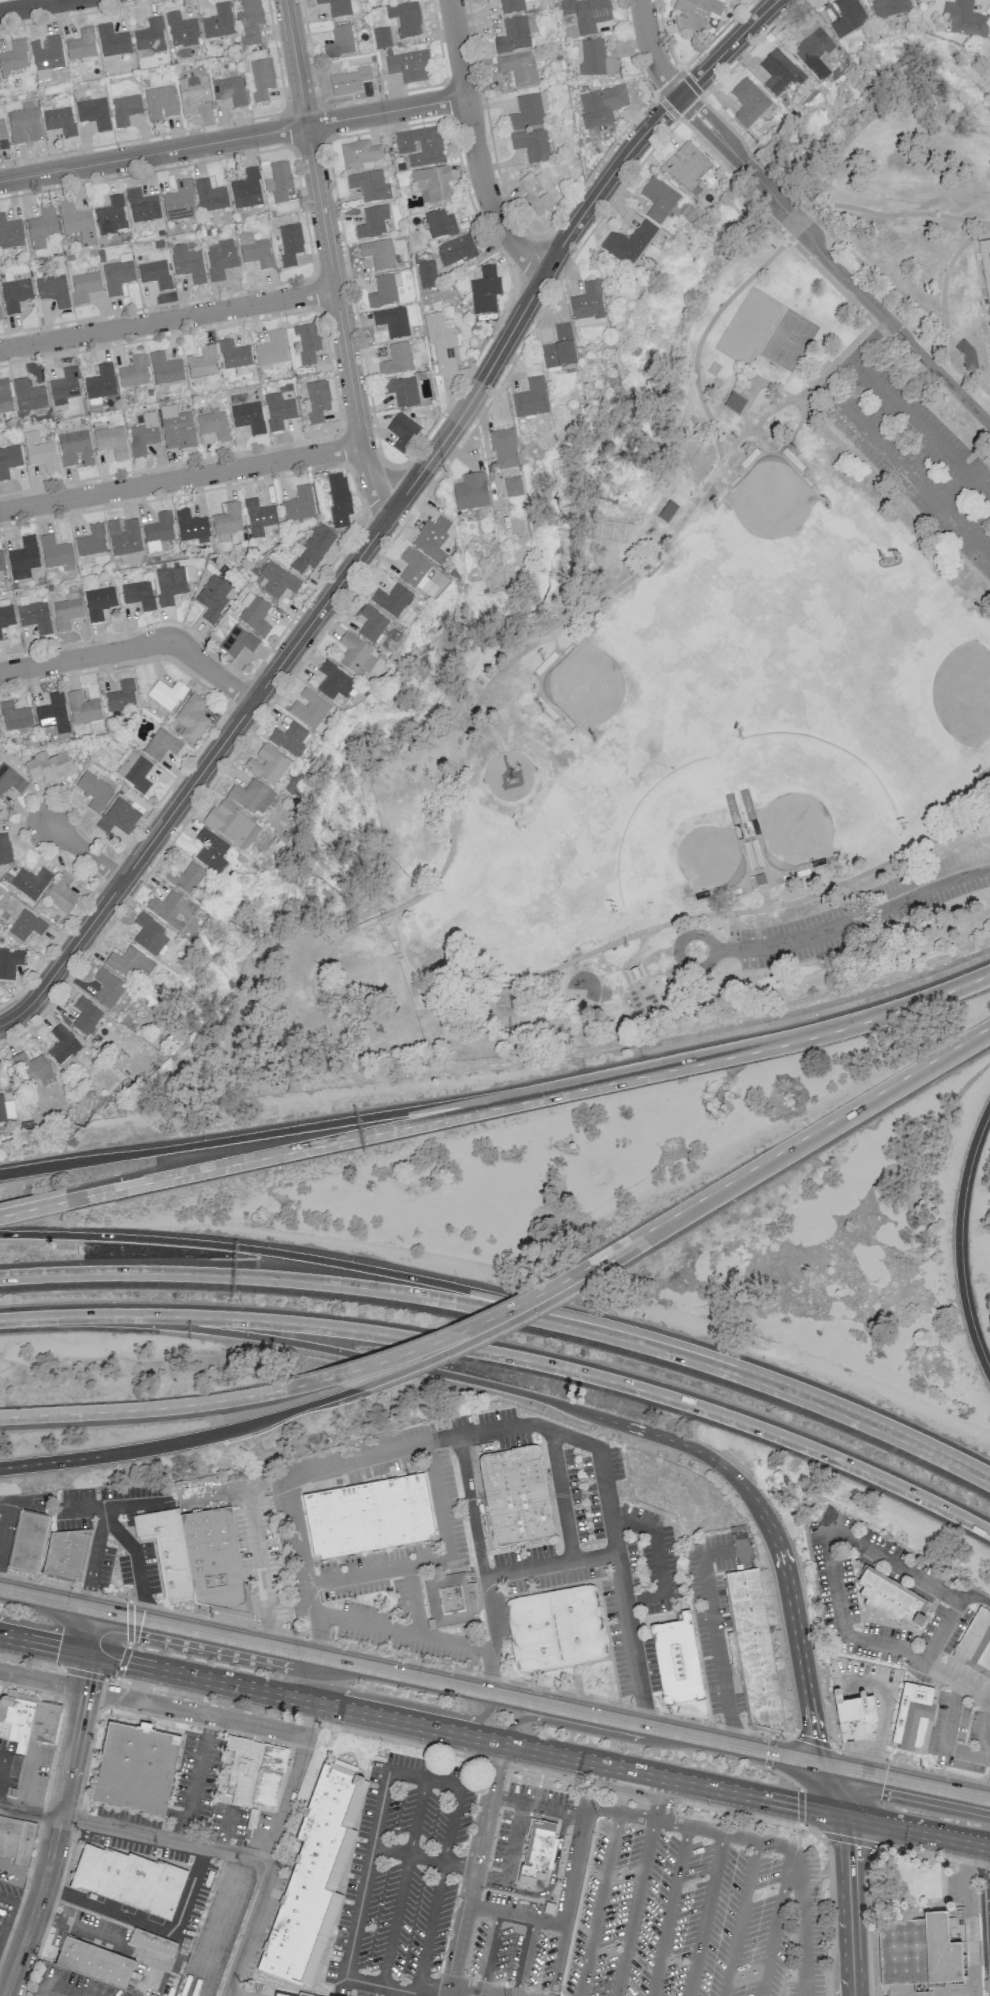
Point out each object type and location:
road: (32, 5)
building: (341, 7)
building: (889, 8)
building: (586, 13)
building: (695, 15)
building: (847, 17)
building: (405, 19)
building: (965, 19)
building: (218, 22)
building: (249, 22)
building: (181, 30)
building: (515, 34)
building: (150, 36)
building: (381, 37)
building: (112, 41)
building: (339, 42)
building: (81, 45)
building: (813, 49)
road: (651, 51)
building: (47, 54)
building: (13, 59)
building: (596, 60)
building: (409, 66)
building: (518, 68)
building: (780, 71)
building: (42, 75)
building: (261, 79)
building: (349, 81)
building: (229, 90)
building: (192, 93)
road: (658, 94)
building: (748, 102)
building: (160, 103)
building: (601, 106)
building: (125, 109)
building: (528, 112)
building: (94, 113)
building: (60, 121)
building: (24, 123)
building: (2, 129)
road: (713, 131)
road: (233, 139)
building: (531, 145)
building: (420, 146)
road: (475, 146)
building: (359, 155)
road: (752, 159)
building: (686, 166)
road: (738, 176)
building: (278, 181)
building: (432, 183)
building: (366, 185)
building: (246, 189)
building: (538, 192)
building: (209, 196)
building: (658, 199)
building: (179, 201)
building: (142, 206)
road: (899, 214)
building: (111, 216)
building: (76, 221)
building: (372, 221)
building: (440, 224)
building: (41, 227)
road: (800, 227)
building: (10, 233)
building: (628, 243)
building: (289, 245)
building: (455, 250)
building: (255, 251)
building: (378, 253)
building: (220, 258)
road: (330, 260)
building: (187, 263)
park: (985, 265)
road: (875, 272)
building: (155, 273)
building: (117, 276)
building: (426, 276)
road: (831, 281)
building: (84, 286)
building: (53, 290)
building: (384, 290)
building: (485, 291)
building: (15, 294)
road: (865, 299)
building: (587, 304)
road: (942, 309)
park: (989, 314)
building: (0, 318)
road: (167, 319)
building: (392, 321)
park: (746, 323)
road: (703, 332)
park: (789, 338)
building: (440, 341)
building: (307, 342)
building: (559, 348)
building: (271, 350)
building: (233, 354)
building: (967, 355)
building: (396, 360)
building: (202, 362)
building: (165, 368)
building: (134, 372)
building: (100, 382)
building: (64, 386)
building: (402, 391)
building: (28, 395)
building: (4, 396)
building: (531, 398)
building: (316, 402)
building: (733, 403)
building: (278, 410)
building: (248, 417)
building: (213, 424)
road: (921, 427)
building: (176, 428)
building: (402, 431)
building: (143, 434)
road: (874, 438)
building: (111, 441)
building: (75, 449)
building: (504, 449)
building: (39, 452)
parking lot: (917, 457)
building: (9, 460)
road: (180, 477)
building: (513, 486)
road: (894, 490)
building: (470, 492)
building: (338, 499)
building: (298, 504)
building: (667, 511)
road: (390, 513)
building: (257, 516)
building: (226, 519)
building: (189, 525)
building: (157, 531)
building: (123, 536)
building: (431, 539)
park: (765, 539)
building: (90, 540)
building: (312, 549)
building: (55, 553)
building: (23, 558)
building: (1, 563)
building: (412, 568)
building: (277, 578)
building: (171, 582)
building: (137, 593)
building: (211, 599)
building: (391, 599)
road: (597, 600)
building: (98, 601)
building: (66, 611)
building: (253, 612)
building: (6, 616)
building: (34, 617)
park: (664, 619)
building: (371, 624)
park: (884, 624)
building: (0, 636)
building: (237, 641)
road: (135, 647)
building: (355, 655)
park: (690, 668)
park: (891, 671)
park: (717, 674)
park: (643, 677)
building: (333, 681)
building: (165, 693)
building: (120, 695)
building: (309, 708)
building: (83, 710)
building: (53, 713)
building: (14, 716)
building: (190, 716)
park: (875, 722)
building: (289, 739)
building: (161, 745)
building: (267, 764)
building: (48, 766)
building: (133, 770)
building: (10, 780)
building: (252, 796)
park: (813, 796)
building: (118, 816)
building: (232, 824)
park: (679, 839)
building: (4, 849)
building: (210, 850)
road: (85, 851)
building: (185, 877)
building: (30, 882)
building: (62, 893)
building: (170, 909)
parking lot: (864, 911)
road: (717, 913)
road: (866, 913)
building: (26, 925)
building: (149, 934)
road: (684, 936)
road: (726, 950)
road: (406, 961)
building: (10, 962)
building: (128, 962)
building: (107, 988)
road: (312, 1001)
building: (85, 1015)
road: (823, 1031)
building: (63, 1048)
building: (32, 1069)
building: (6, 1110)
road: (833, 1123)
road: (326, 1124)
road: (370, 1134)
road: (44, 1205)
road: (634, 1240)
road: (959, 1241)
road: (638, 1244)
road: (426, 1279)
road: (424, 1299)
road: (13, 1317)
road: (455, 1336)
road: (471, 1341)
road: (523, 1358)
road: (538, 1397)
road: (154, 1409)
road: (169, 1443)
road: (411, 1445)
road: (912, 1445)
road: (561, 1495)
building: (515, 1496)
road: (25, 1501)
road: (107, 1507)
road: (102, 1511)
road: (610, 1514)
building: (368, 1516)
road: (6, 1520)
road: (110, 1523)
road: (836, 1529)
building: (28, 1541)
road: (257, 1548)
building: (167, 1551)
building: (65, 1555)
road: (437, 1560)
road: (659, 1560)
building: (214, 1561)
road: (550, 1564)
traffic signals: (87, 1589)
building: (452, 1598)
road: (413, 1600)
building: (888, 1600)
traffic signals: (132, 1618)
parking lot: (904, 1625)
building: (557, 1628)
road: (403, 1631)
road: (715, 1635)
building: (975, 1643)
traffic signals: (57, 1647)
building: (754, 1649)
building: (676, 1660)
road: (409, 1676)
traffic signals: (85, 1678)
road: (41, 1680)
road: (956, 1681)
road: (141, 1682)
road: (159, 1704)
road: (409, 1704)
road: (884, 1714)
building: (912, 1714)
building: (853, 1715)
building: (16, 1718)
road: (308, 1718)
building: (43, 1722)
road: (564, 1723)
road: (258, 1725)
road: (421, 1725)
traffic signals: (814, 1738)
road: (413, 1743)
road: (948, 1749)
road: (986, 1756)
road: (3, 1765)
road: (913, 1766)
building: (135, 1767)
building: (242, 1767)
road: (67, 1768)
road: (843, 1769)
building: (268, 1775)
road: (784, 1776)
road: (423, 1777)
traffic signals: (884, 1777)
road: (197, 1779)
road: (929, 1787)
road: (831, 1789)
road: (286, 1798)
road: (661, 1798)
road: (537, 1803)
traffic signals: (796, 1805)
road: (603, 1808)
road: (800, 1808)
road: (417, 1816)
road: (638, 1816)
road: (451, 1823)
road: (672, 1823)
road: (916, 1829)
road: (136, 1832)
road: (739, 1837)
road: (514, 1839)
building: (17, 1841)
road: (854, 1841)
traffic signals: (847, 1843)
road: (987, 1843)
building: (538, 1850)
road: (938, 1856)
road: (423, 1857)
road: (474, 1865)
road: (574, 1865)
road: (986, 1867)
road: (489, 1874)
building: (313, 1878)
parking lot: (401, 1879)
building: (132, 1882)
road: (549, 1885)
road: (989, 1890)
road: (599, 1904)
parking lot: (633, 1904)
road: (849, 1904)
road: (359, 1905)
road: (16, 1907)
road: (635, 1907)
road: (670, 1911)
road: (989, 1912)
road: (514, 1915)
road: (704, 1915)
road: (971, 1918)
road: (740, 1919)
road: (395, 1920)
road: (802, 1921)
road: (775, 1922)
road: (148, 1924)
road: (430, 1926)
road: (242, 1932)
building: (155, 1943)
road: (489, 1951)
building: (921, 1952)
road: (524, 1957)
road: (16, 1960)
road: (558, 1960)
building: (95, 1962)
road: (443, 1988)
road: (457, 1988)
road: (421, 1989)
road: (485, 1991)
road: (449, 1992)
road: (227, 1994)
parking lot: (259, 1994)
building: (279, 1994)

